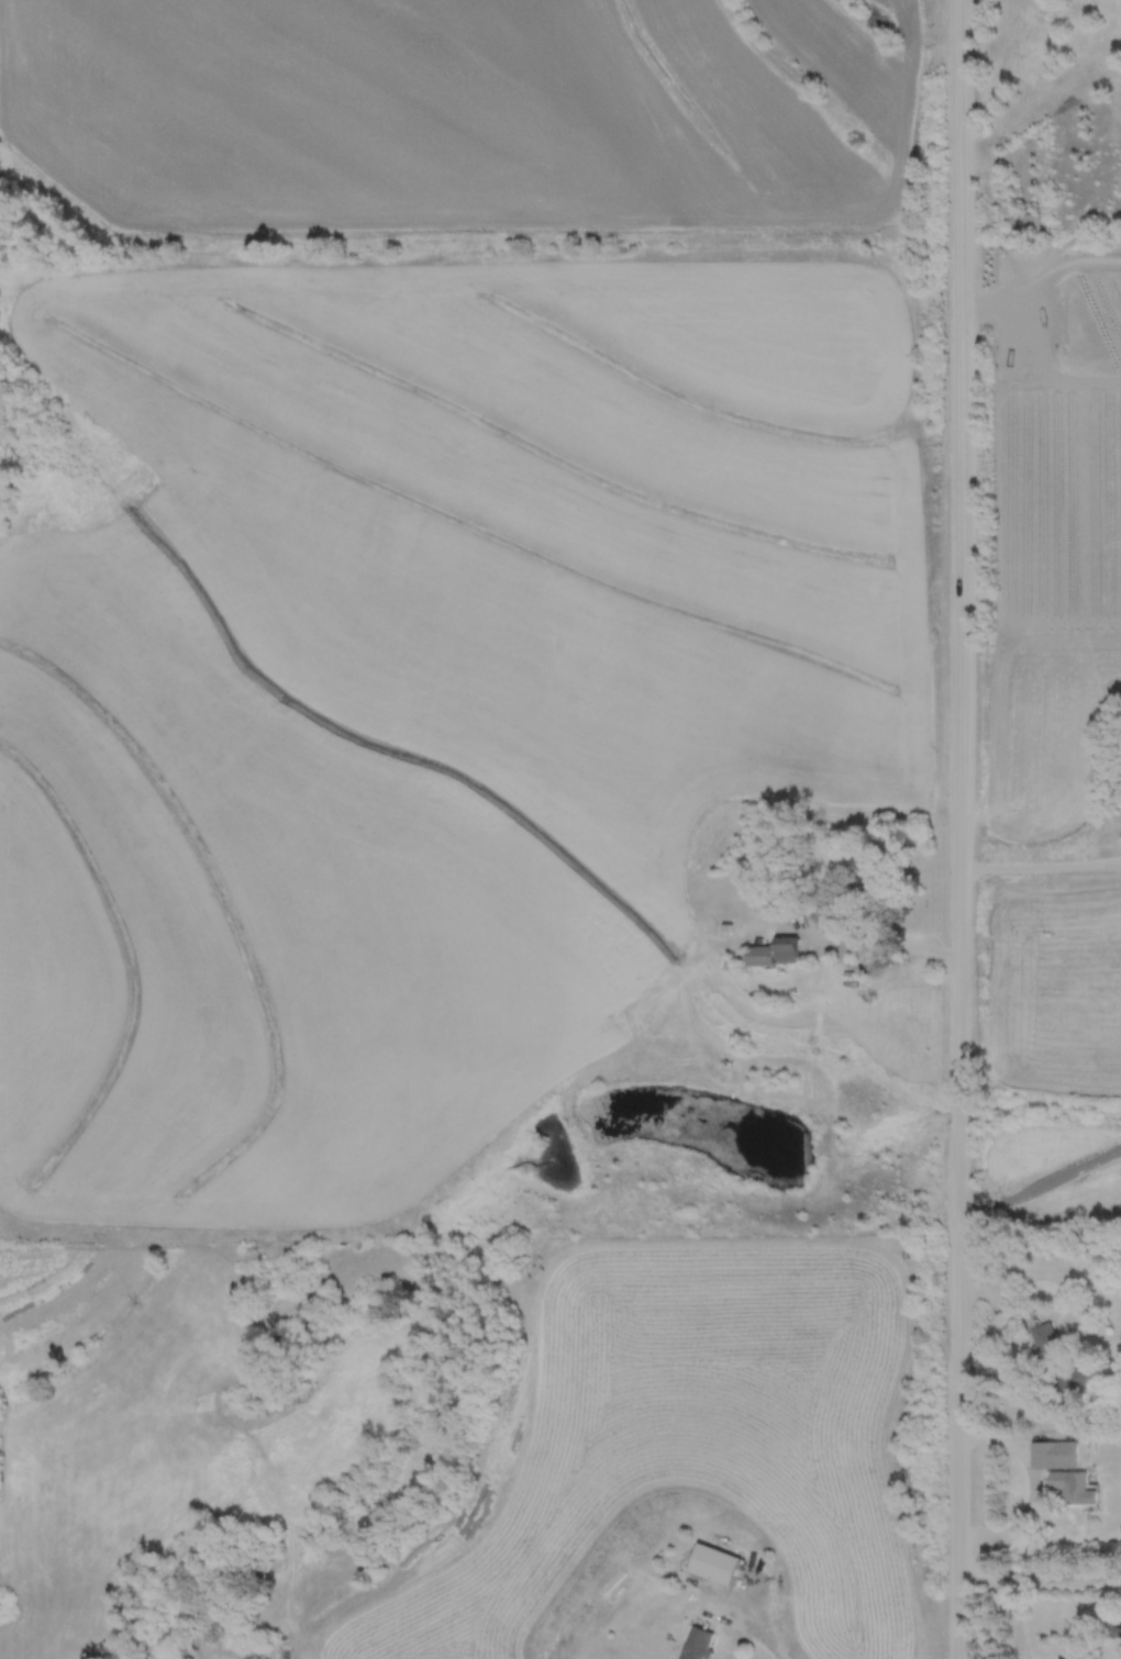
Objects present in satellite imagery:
building: (1025, 224)
road: (999, 304)
road: (1039, 319)
road: (959, 549)
road: (1040, 866)
building: (866, 893)
road: (886, 938)
building: (773, 951)
road: (959, 1110)
building: (1054, 1362)
road: (959, 1389)
building: (1042, 1455)
building: (1069, 1487)
building: (713, 1565)
road: (1005, 1600)
road: (752, 1625)
building: (695, 1644)

